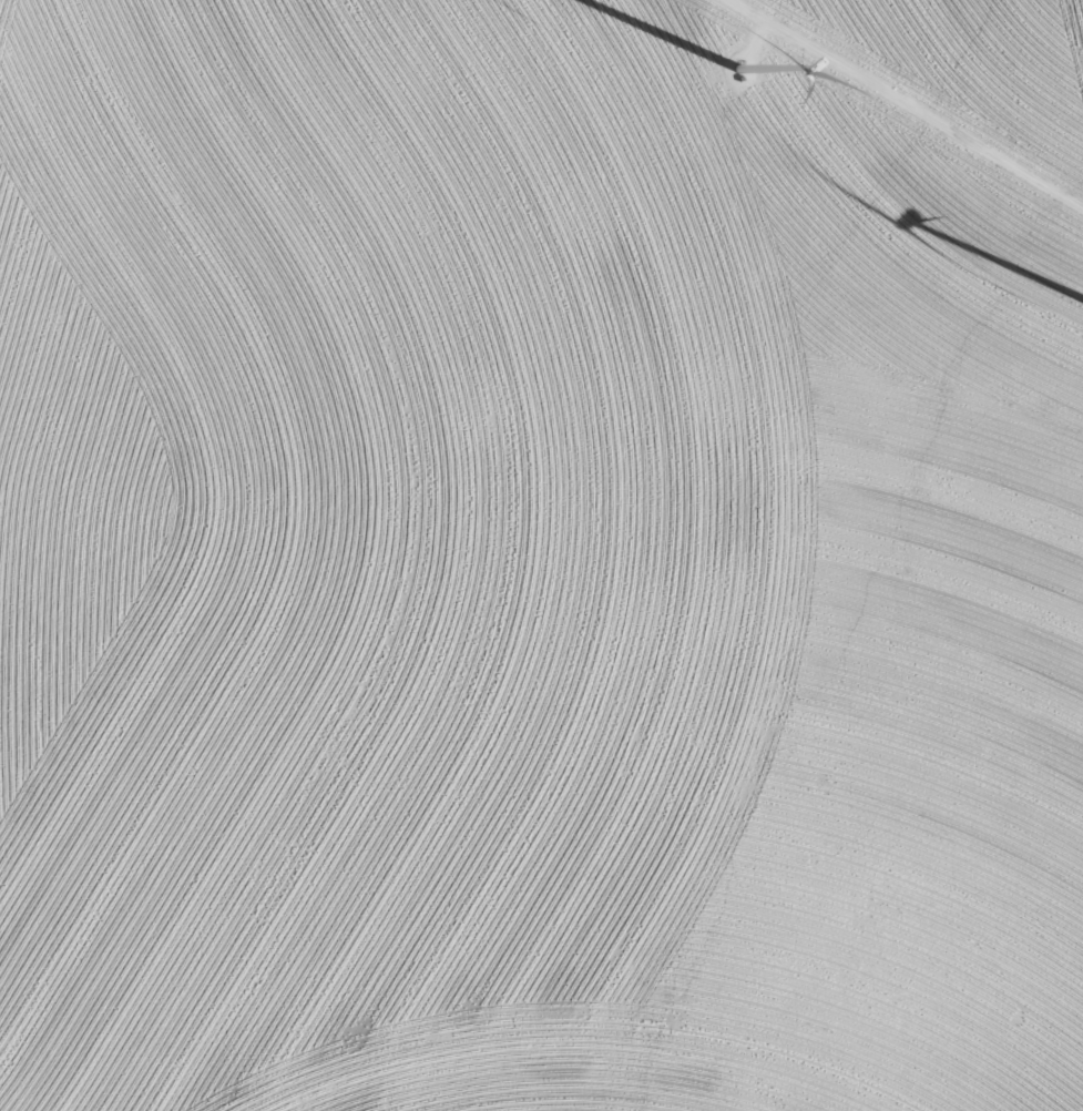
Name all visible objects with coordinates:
wind turbine: (738, 83)

